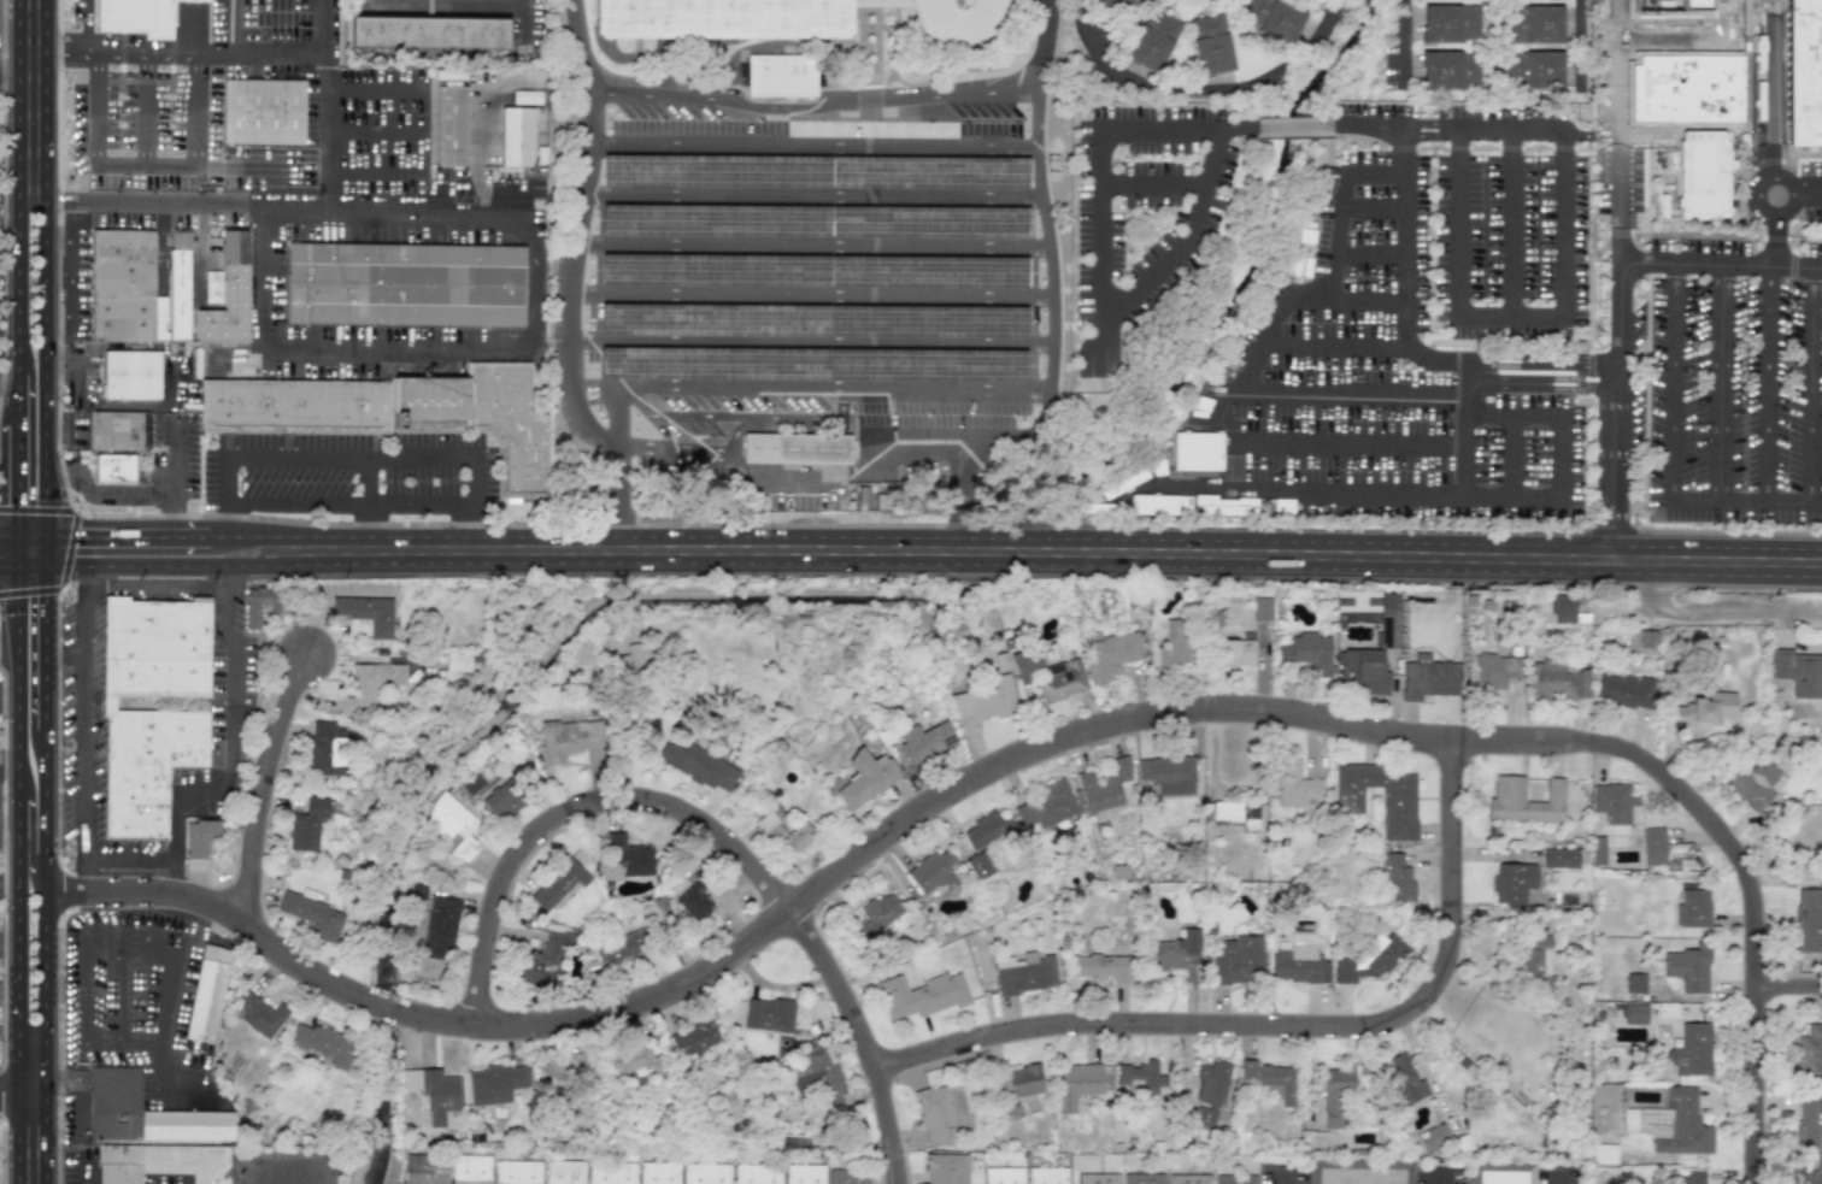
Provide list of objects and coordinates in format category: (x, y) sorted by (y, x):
building: (480, 1)
building: (1123, 1)
building: (1694, 4)
building: (135, 17)
road: (523, 18)
building: (1271, 18)
building: (722, 20)
building: (958, 22)
building: (1450, 23)
building: (1535, 24)
road: (233, 26)
building: (429, 36)
road: (1404, 39)
building: (1152, 41)
building: (1211, 43)
road: (1667, 43)
road: (582, 45)
road: (1044, 45)
road: (1580, 45)
road: (1618, 49)
road: (133, 54)
road: (12, 67)
road: (1714, 67)
building: (1450, 70)
building: (1533, 70)
building: (1804, 73)
building: (780, 76)
road: (1200, 89)
road: (374, 90)
building: (525, 96)
road: (24, 100)
road: (48, 100)
road: (1645, 100)
road: (324, 105)
road: (813, 110)
road: (145, 112)
building: (263, 114)
road: (1276, 125)
building: (449, 126)
road: (1398, 126)
road: (1564, 130)
road: (375, 132)
building: (516, 137)
road: (813, 153)
road: (1401, 154)
road: (181, 170)
road: (372, 173)
building: (1701, 173)
road: (1769, 173)
road: (1620, 183)
road: (1153, 184)
road: (1810, 193)
road: (810, 198)
road: (36, 200)
road: (306, 208)
road: (1344, 214)
road: (1514, 224)
road: (58, 237)
road: (1775, 242)
road: (809, 248)
road: (1401, 249)
road: (868, 252)
road: (1727, 266)
road: (1401, 278)
building: (178, 285)
building: (212, 287)
building: (406, 287)
road: (1101, 287)
building: (125, 288)
parking lot: (807, 288)
road: (24, 289)
road: (70, 289)
building: (228, 295)
road: (807, 301)
parking lot: (1426, 326)
road: (1333, 344)
road: (1262, 346)
road: (563, 349)
road: (401, 353)
road: (806, 353)
road: (1545, 361)
road: (75, 363)
building: (130, 375)
road: (48, 377)
road: (12, 378)
road: (1541, 383)
road: (1721, 383)
road: (1768, 383)
road: (1812, 384)
road: (934, 400)
road: (1673, 405)
road: (25, 406)
building: (294, 406)
road: (1614, 410)
building: (481, 417)
road: (65, 422)
building: (90, 430)
building: (117, 431)
building: (146, 431)
road: (1351, 443)
building: (795, 448)
building: (1195, 450)
road: (935, 455)
road: (348, 456)
road: (1509, 456)
road: (1562, 458)
building: (112, 469)
parking lot: (352, 476)
road: (472, 479)
road: (225, 483)
road: (25, 488)
road: (164, 494)
road: (1432, 495)
road: (1770, 501)
road: (296, 503)
road: (413, 503)
road: (465, 503)
building: (1153, 505)
road: (175, 524)
road: (369, 528)
road: (459, 528)
road: (225, 531)
road: (12, 540)
traffic signals: (25, 542)
road: (36, 548)
road: (935, 550)
road: (25, 555)
traffic signals: (48, 555)
road: (36, 561)
road: (12, 569)
traffic signals: (25, 569)
building: (258, 603)
building: (1260, 608)
building: (1562, 608)
building: (366, 612)
road: (1712, 613)
building: (1388, 618)
building: (1646, 638)
road: (48, 642)
building: (610, 642)
building: (1174, 643)
road: (12, 644)
building: (582, 652)
building: (1235, 652)
building: (1306, 652)
road: (69, 653)
building: (1109, 654)
building: (633, 658)
building: (453, 665)
building: (1497, 670)
building: (1360, 671)
building: (1797, 671)
building: (1050, 675)
building: (1427, 677)
road: (24, 681)
building: (1556, 681)
road: (12, 682)
building: (369, 684)
building: (1624, 690)
building: (983, 700)
building: (1704, 708)
building: (568, 738)
building: (923, 741)
building: (154, 742)
building: (695, 764)
building: (1168, 773)
building: (863, 778)
building: (1752, 782)
road: (264, 784)
building: (1104, 784)
building: (1293, 784)
building: (1352, 785)
building: (501, 797)
building: (1504, 799)
building: (1612, 801)
building: (1046, 805)
building: (1398, 806)
building: (1235, 813)
building: (306, 825)
building: (453, 826)
building: (985, 830)
road: (23, 832)
road: (716, 833)
building: (783, 835)
building: (198, 837)
road: (11, 838)
building: (1653, 846)
building: (1597, 849)
building: (624, 858)
building: (1559, 858)
road: (142, 866)
building: (977, 866)
building: (930, 871)
road: (83, 878)
building: (1395, 878)
road: (174, 880)
building: (1511, 882)
building: (557, 883)
road: (819, 889)
building: (693, 901)
building: (1692, 908)
building: (877, 913)
building: (312, 915)
building: (1808, 920)
building: (439, 927)
road: (11, 929)
road: (1757, 935)
building: (621, 947)
building: (1177, 952)
road: (45, 956)
building: (543, 959)
building: (1236, 959)
building: (1298, 960)
building: (1369, 960)
building: (1101, 967)
building: (1687, 967)
building: (1024, 972)
building: (1634, 983)
road: (101, 986)
road: (1789, 988)
building: (205, 994)
building: (922, 995)
building: (258, 1013)
building: (1634, 1013)
building: (768, 1014)
road: (20, 1026)
road: (1283, 1026)
road: (118, 1035)
building: (693, 1038)
building: (322, 1043)
building: (1691, 1049)
building: (1808, 1050)
road: (161, 1060)
building: (633, 1061)
building: (560, 1068)
building: (817, 1074)
building: (1139, 1077)
building: (1266, 1078)
building: (1405, 1079)
building: (1017, 1082)
building: (494, 1083)
building: (1076, 1084)
road: (22, 1090)
road: (77, 1090)
building: (431, 1091)
building: (1207, 1092)
building: (1333, 1094)
road: (160, 1102)
building: (143, 1112)
building: (934, 1115)
building: (1671, 1123)
building: (1808, 1124)
building: (1432, 1137)
building: (1603, 1153)
building: (160, 1162)
road: (274, 1167)
building: (945, 1168)
building: (424, 1170)
building: (469, 1170)
building: (1358, 1171)
building: (516, 1172)
building: (563, 1172)
building: (657, 1172)
building: (1501, 1172)
building: (610, 1173)
building: (705, 1173)
building: (756, 1173)
building: (803, 1173)
road: (86, 1174)
building: (1046, 1174)
road: (327, 1176)
building: (847, 1176)
building: (1003, 1176)
building: (1808, 1177)
building: (1097, 1178)
building: (1142, 1178)
building: (1188, 1178)
building: (1692, 1178)
building: (1234, 1179)
road: (1280, 1180)
road: (1440, 1180)
road: (1556, 1183)

